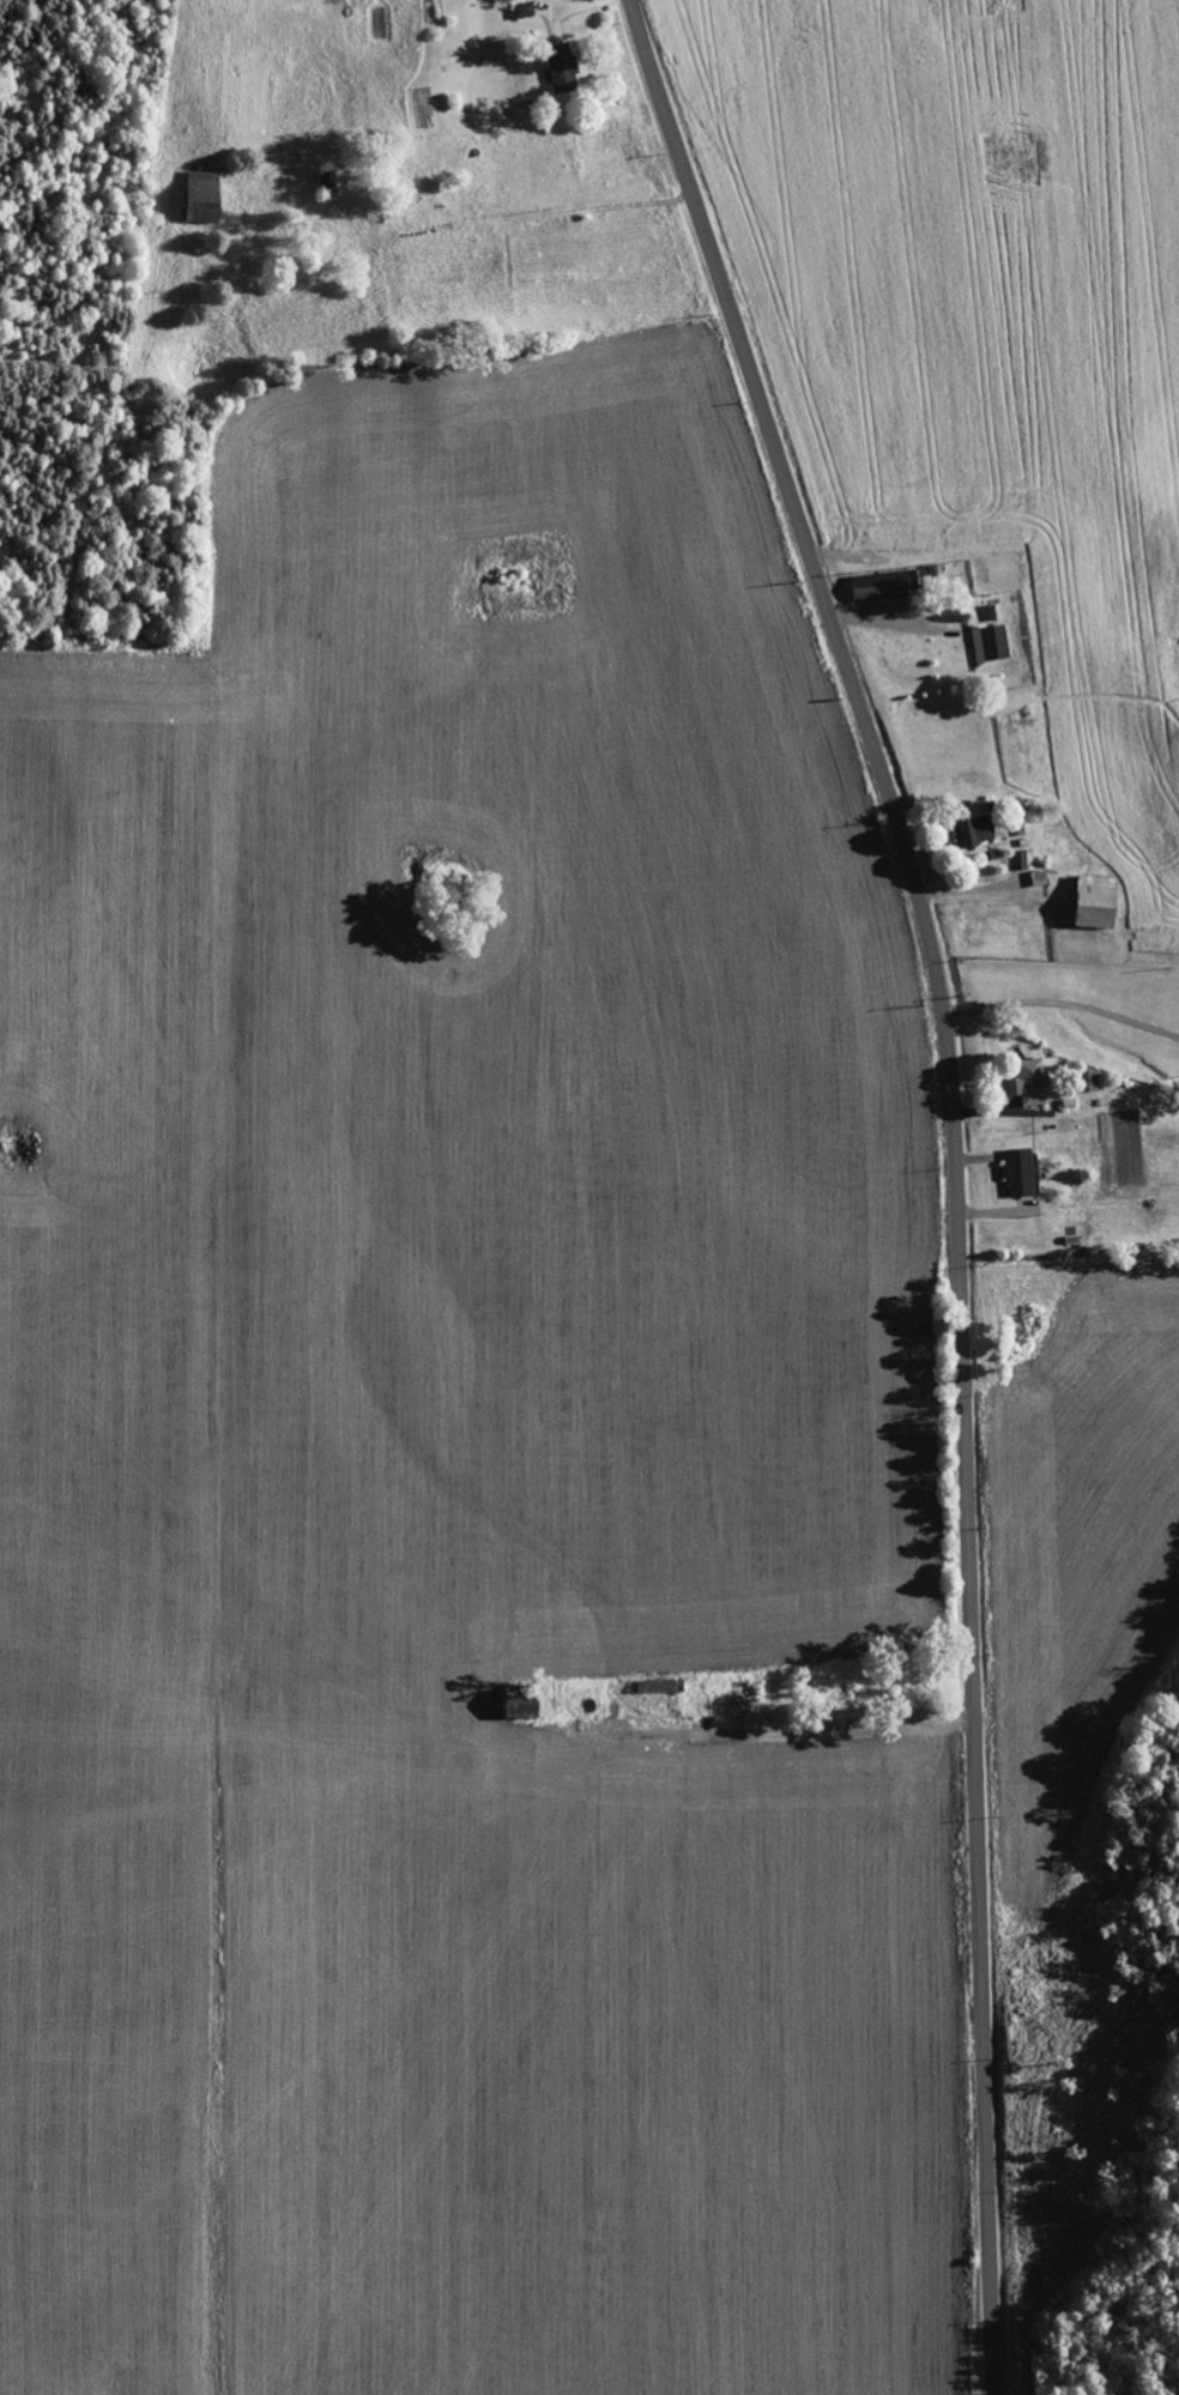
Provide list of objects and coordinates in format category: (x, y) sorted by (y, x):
building: (524, 10)
building: (564, 69)
building: (331, 181)
building: (205, 198)
building: (890, 585)
building: (994, 611)
building: (992, 643)
building: (977, 831)
building: (1098, 903)
building: (1032, 1081)
building: (1089, 1081)
building: (1021, 1172)
road: (955, 1173)
building: (524, 1704)

